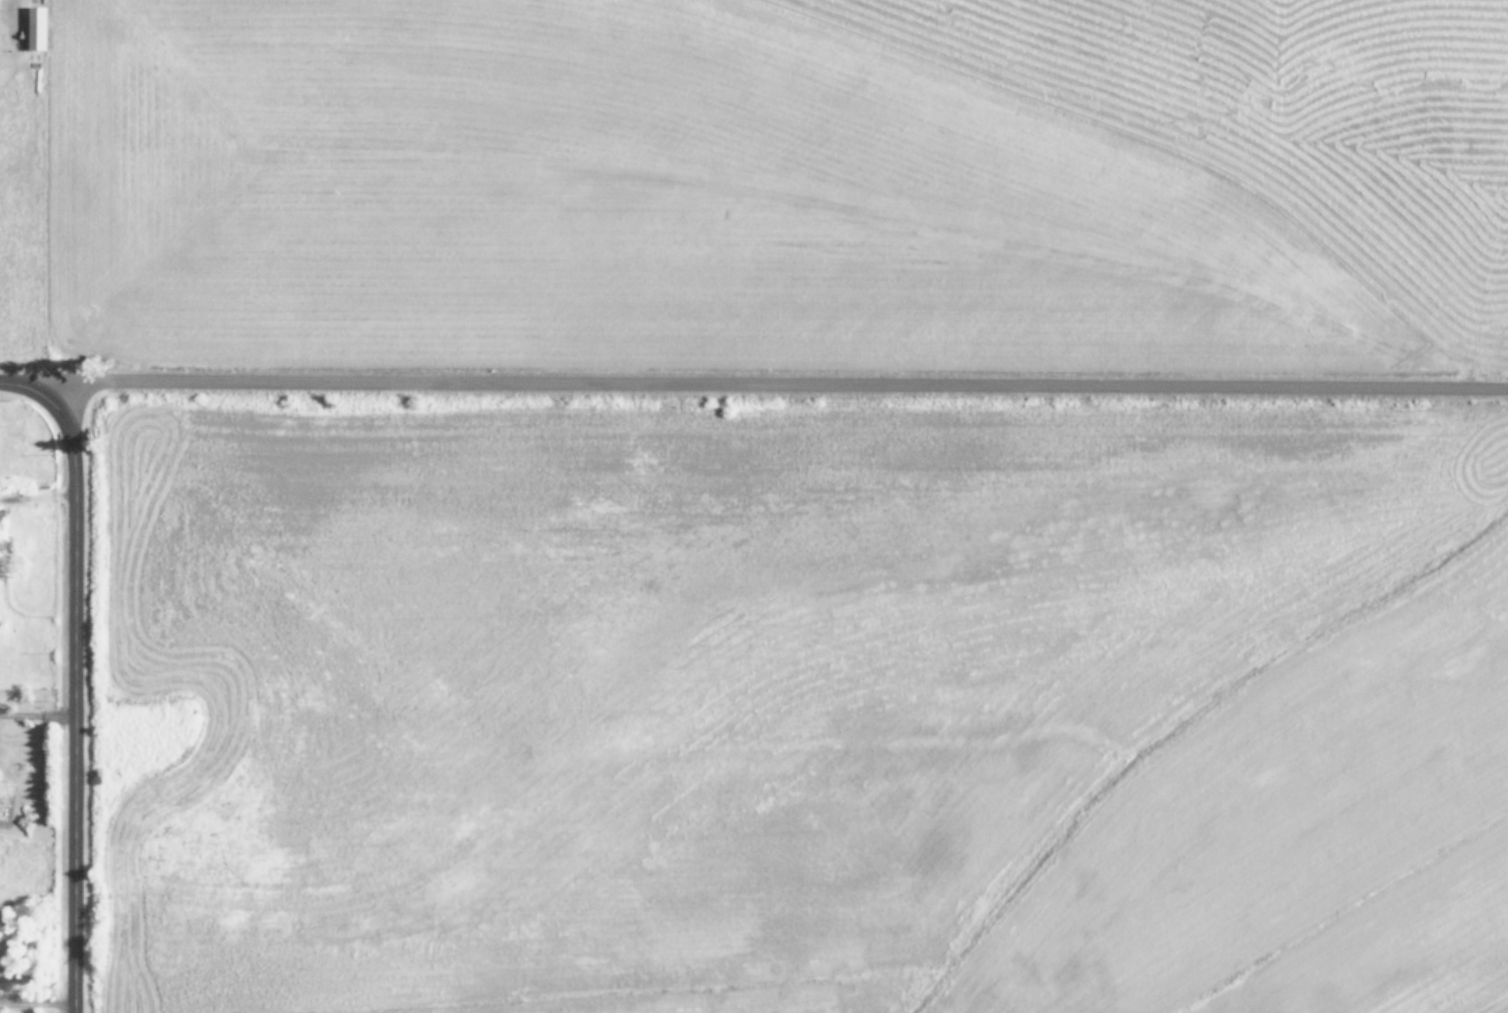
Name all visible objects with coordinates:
building: (34, 27)
crop: (794, 194)
crop: (14, 230)
road: (774, 386)
road: (24, 390)
road: (72, 704)
crop: (981, 806)
crop: (1401, 941)
road: (37, 1007)

